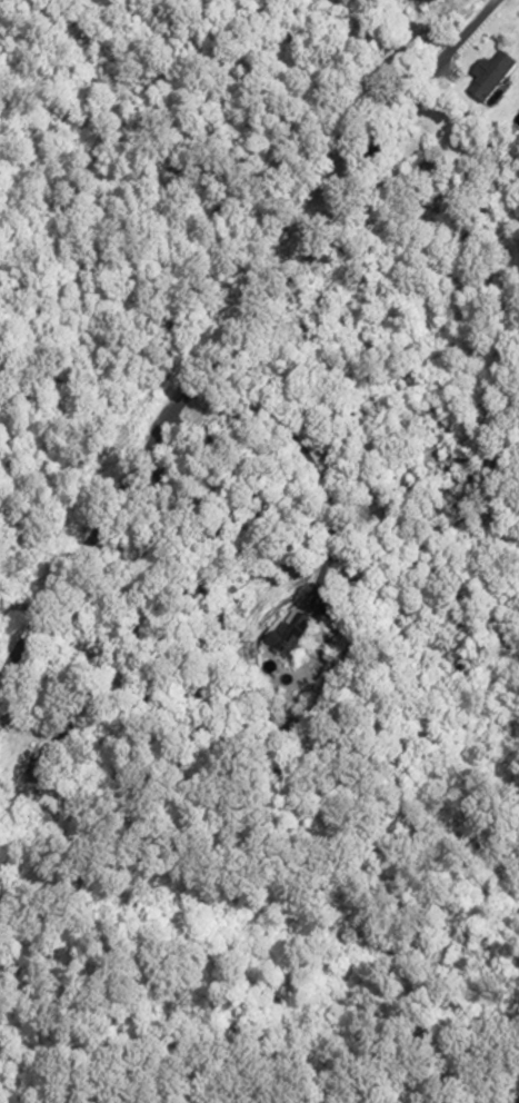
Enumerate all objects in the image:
building: (493, 80)
road: (240, 332)
road: (308, 456)
building: (337, 604)
building: (292, 639)
building: (43, 773)
building: (280, 1000)

